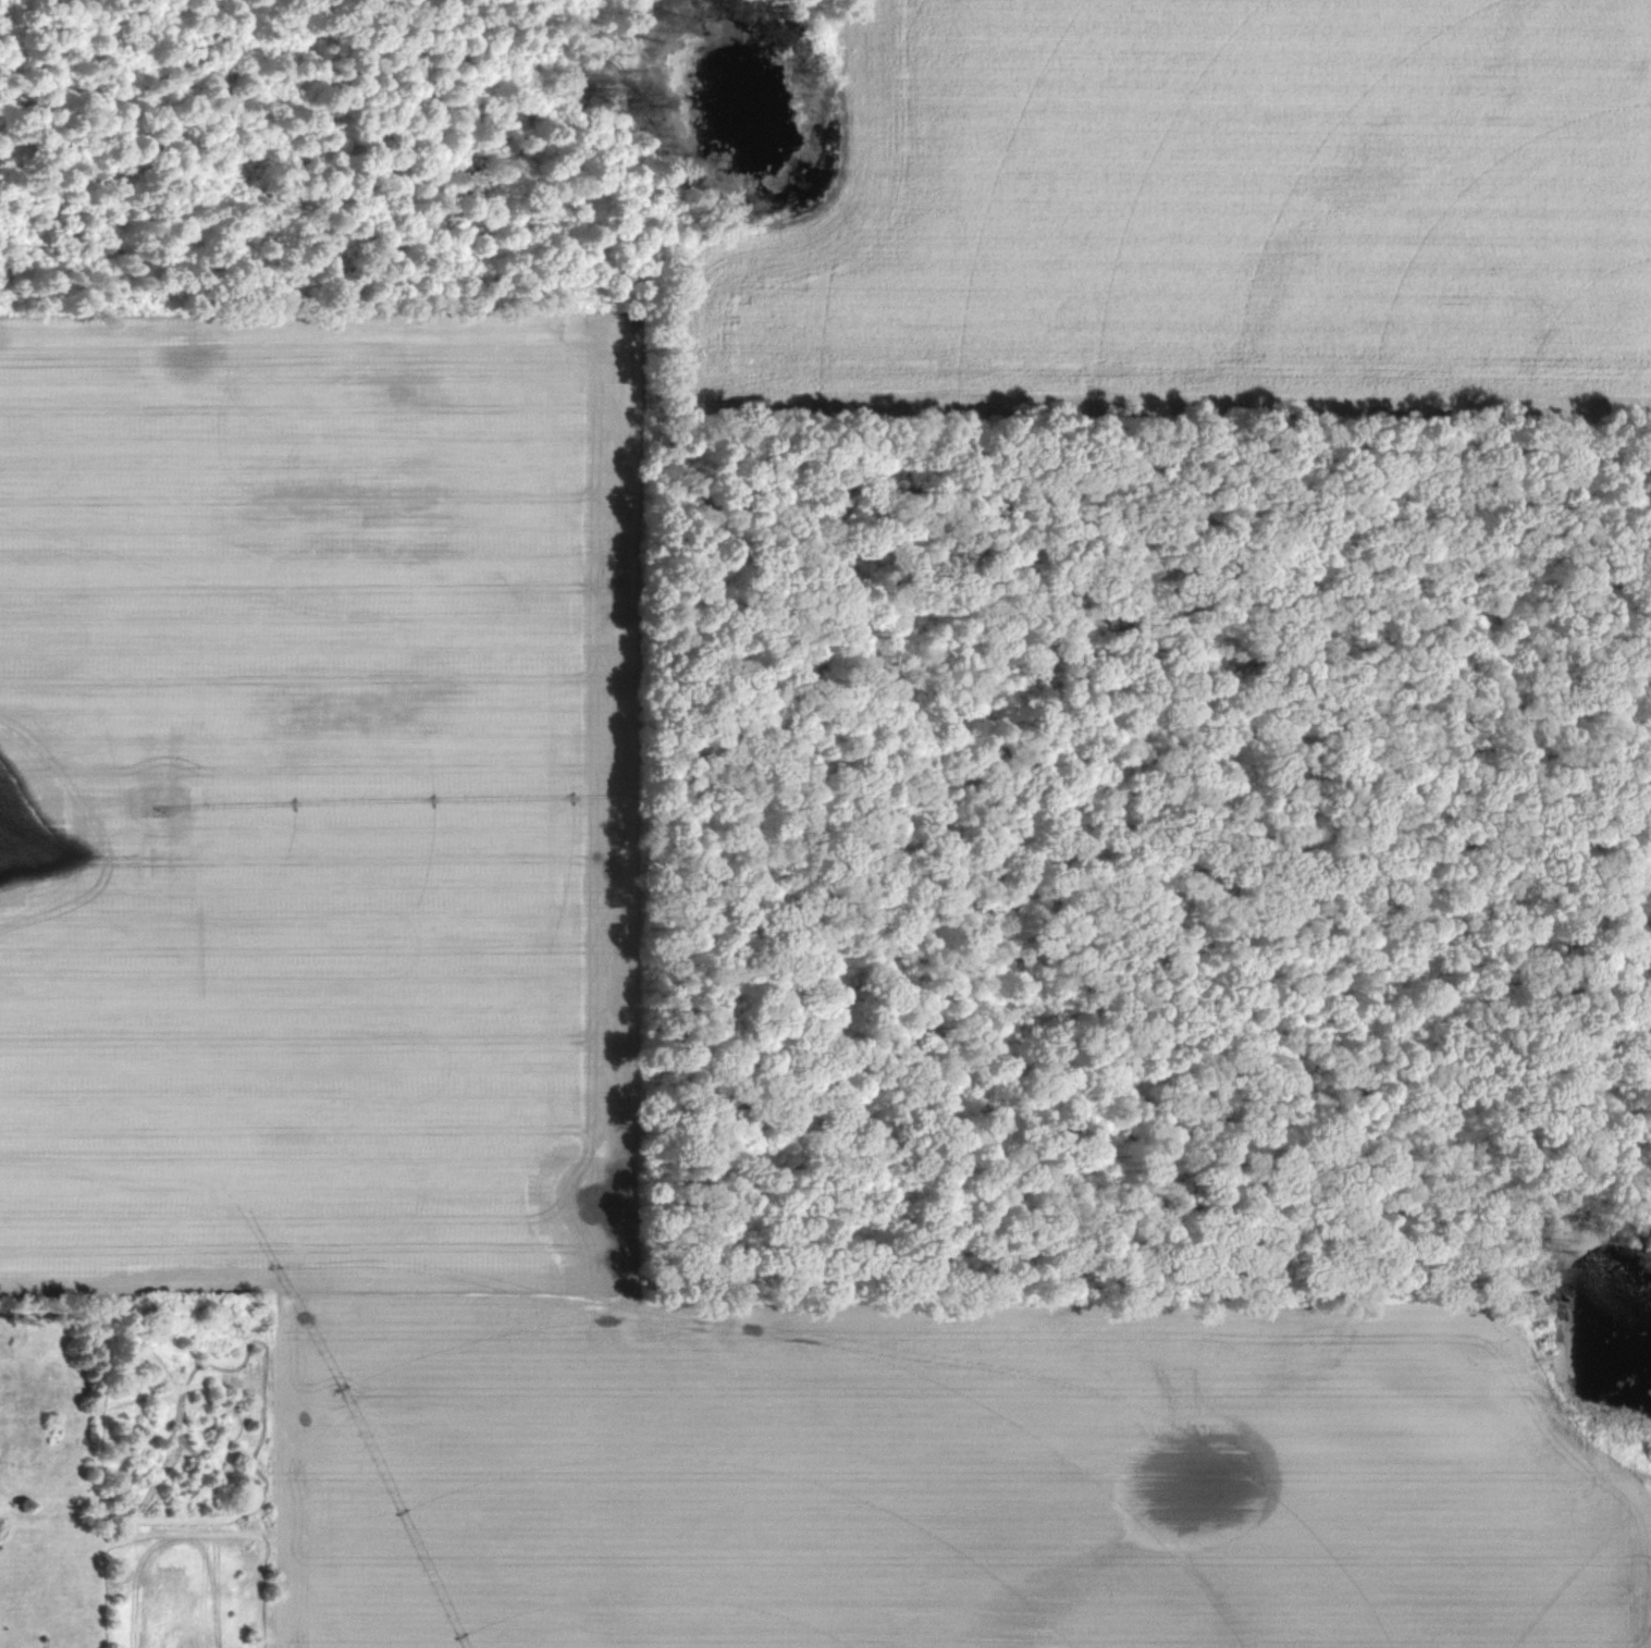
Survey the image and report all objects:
crop: (1204, 204)
crop: (311, 797)
crop: (941, 1477)

